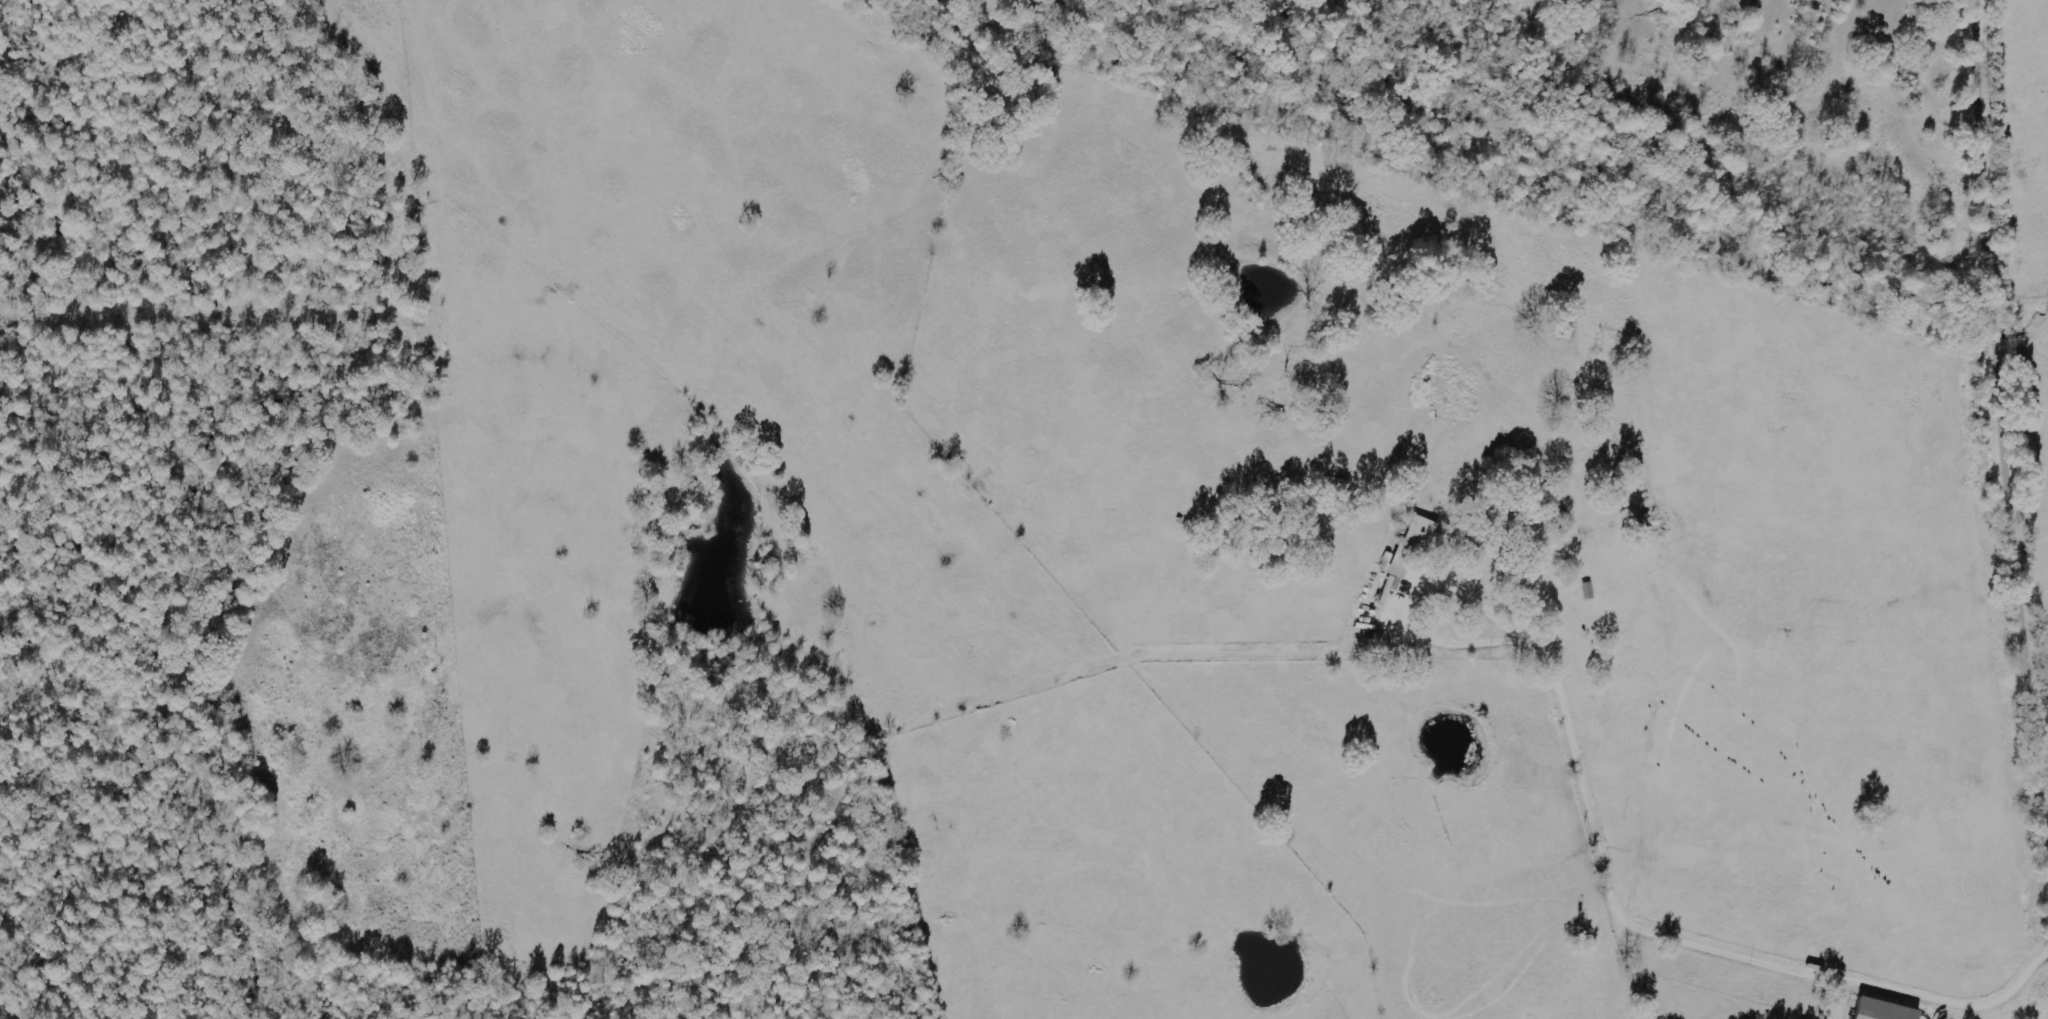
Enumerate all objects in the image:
road: (2044, 255)
building: (1419, 532)
building: (1880, 1010)

